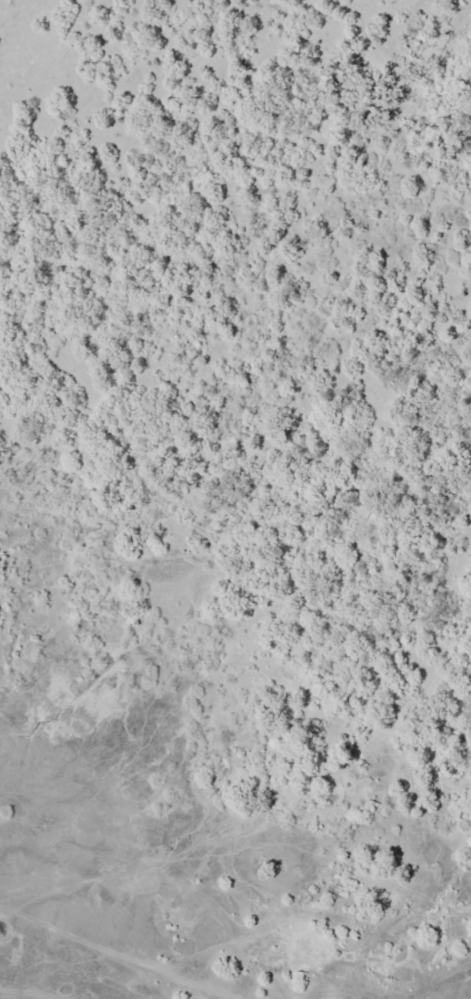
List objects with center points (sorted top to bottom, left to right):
road: (297, 295)
road: (221, 792)

